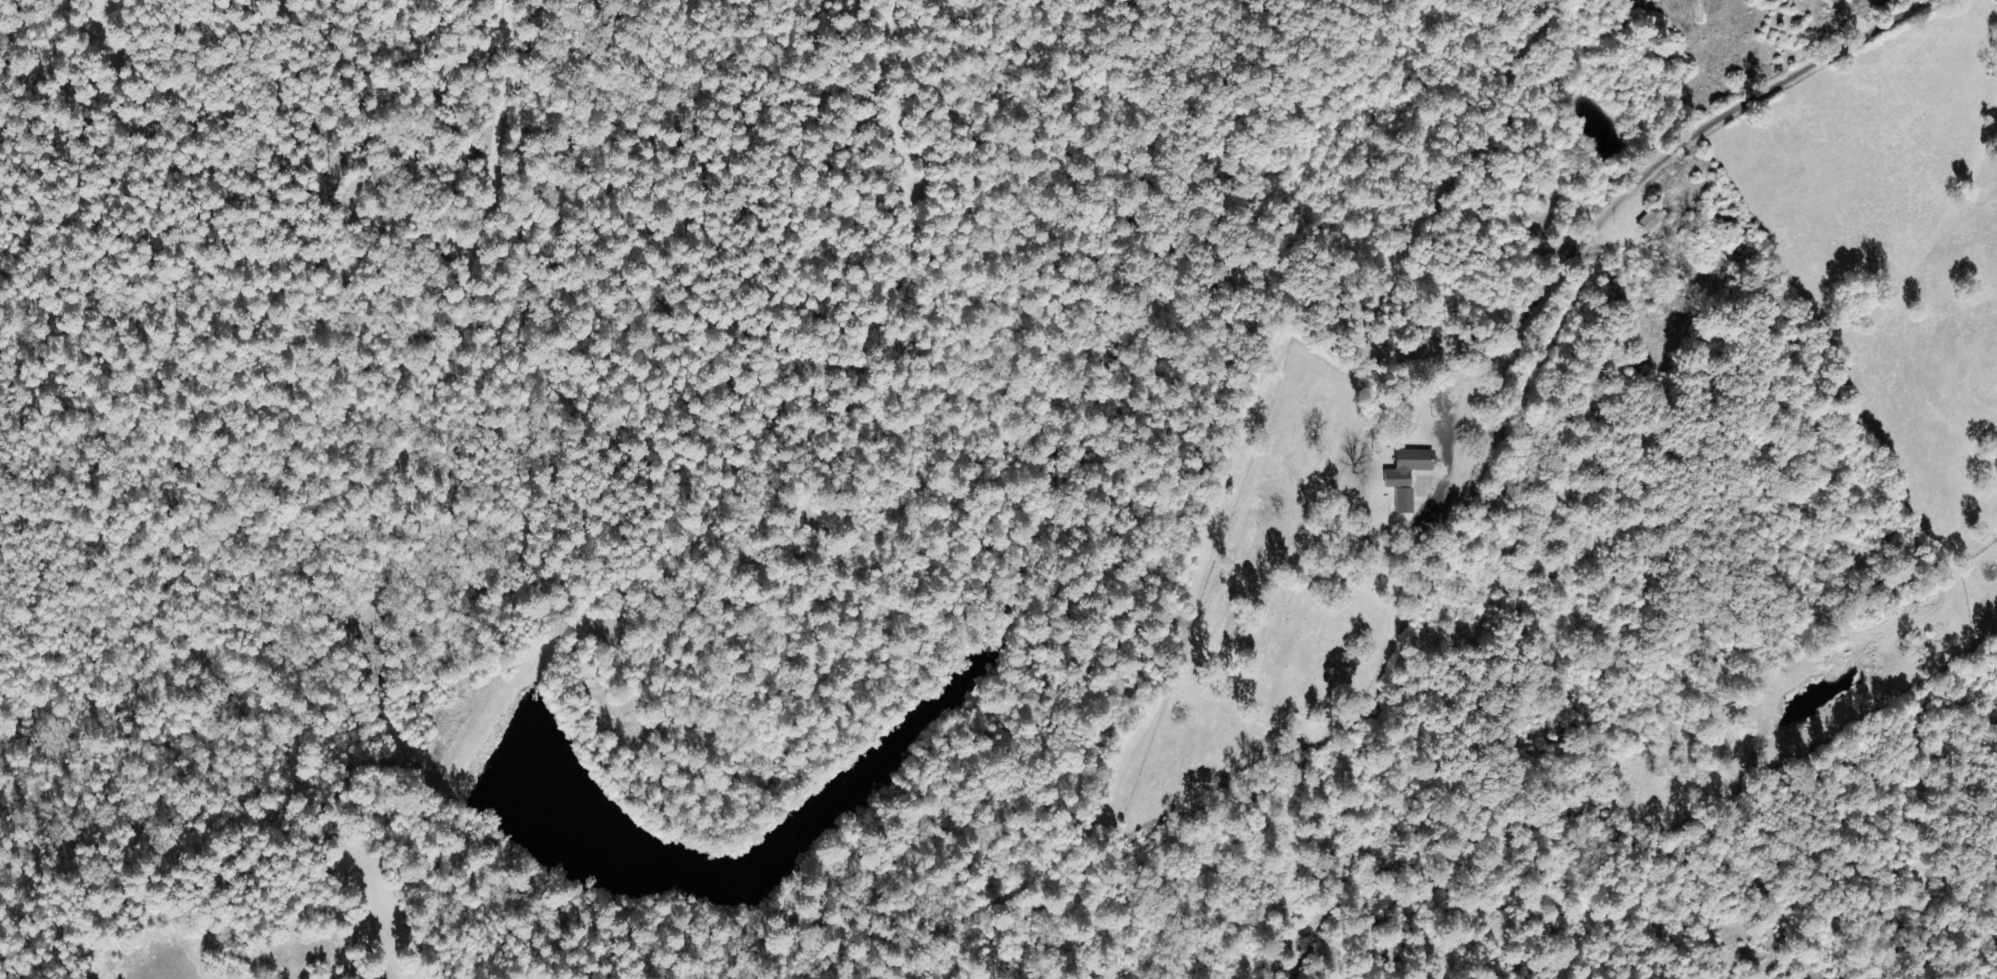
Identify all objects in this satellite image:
road: (1727, 136)
building: (1652, 218)
building: (1407, 476)
park: (1305, 664)

